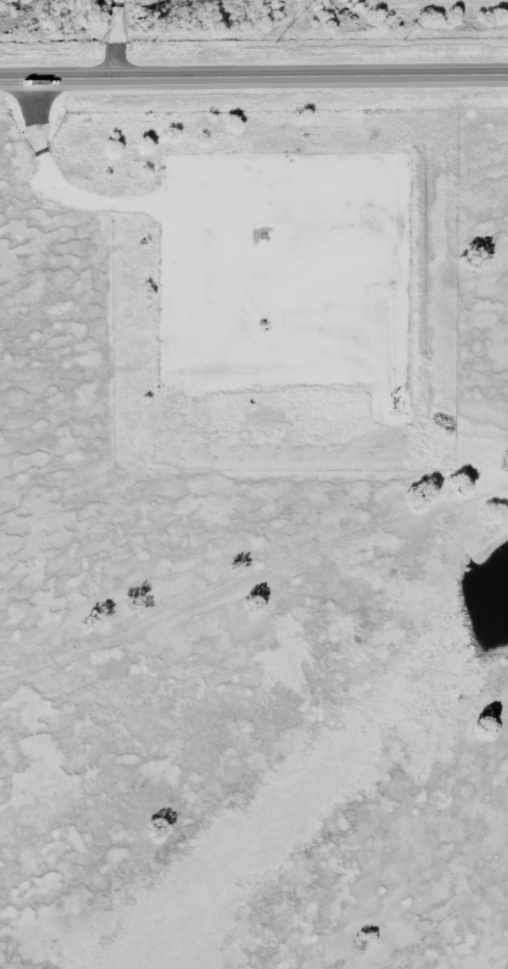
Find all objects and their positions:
road: (117, 39)
road: (253, 77)

